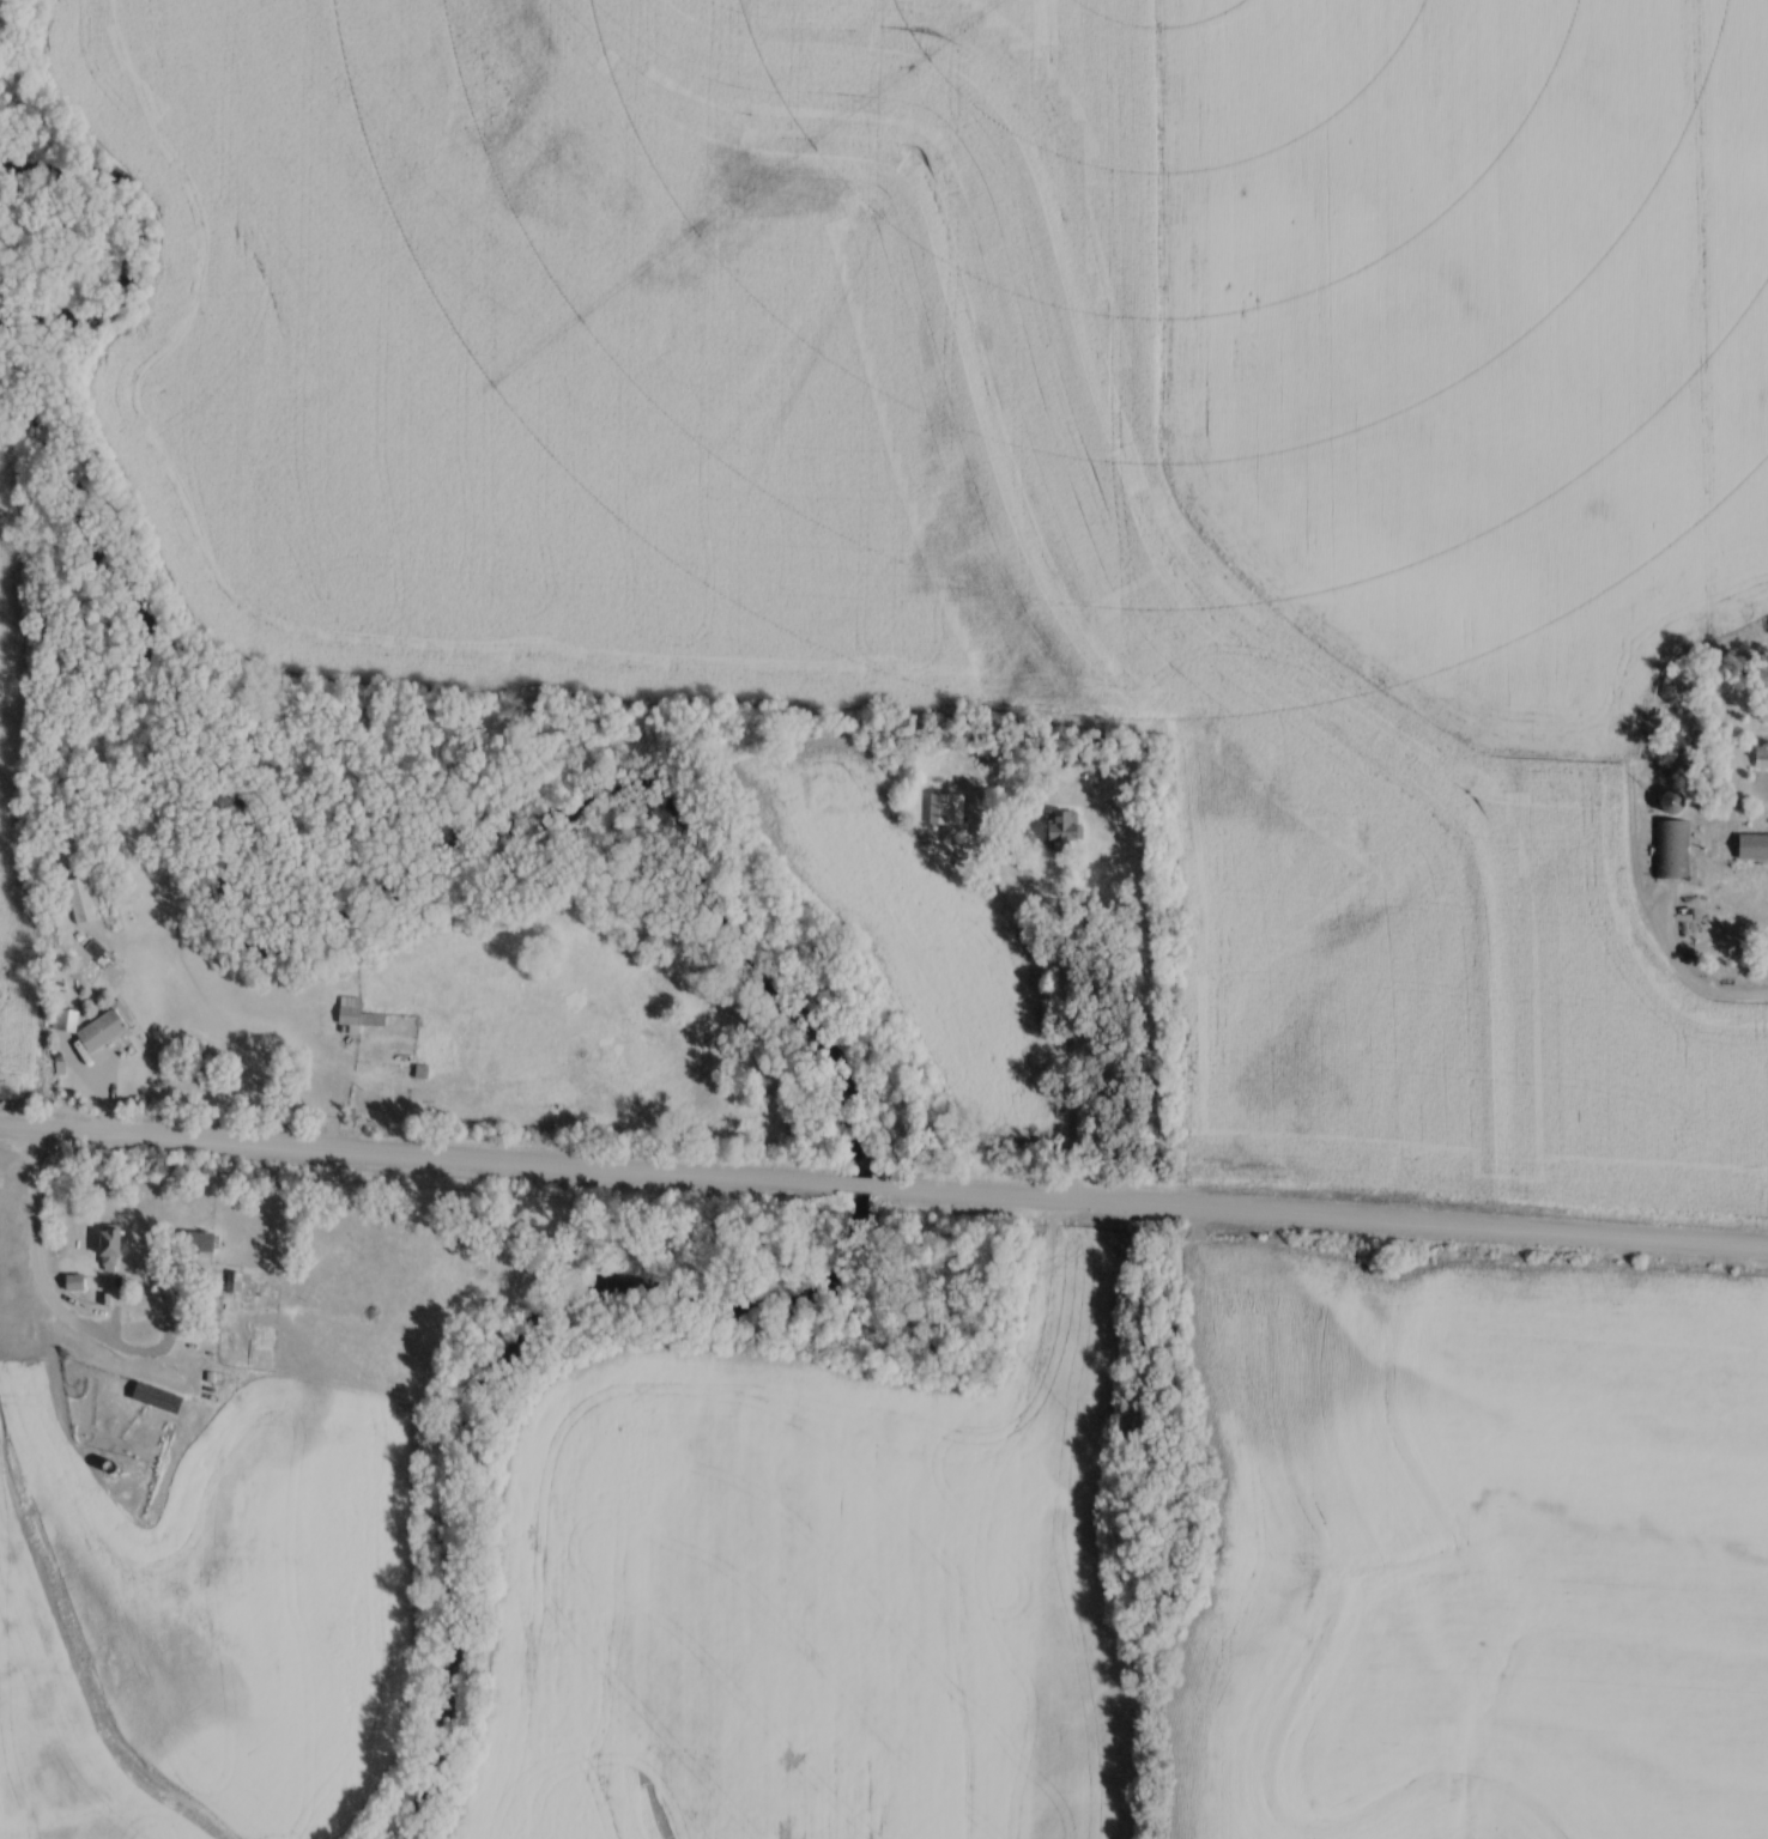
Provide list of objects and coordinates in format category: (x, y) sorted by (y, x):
building: (1762, 759)
building: (1675, 805)
building: (949, 811)
building: (1066, 831)
building: (1755, 848)
building: (1675, 851)
building: (84, 902)
river: (718, 915)
building: (361, 1015)
building: (105, 1032)
road: (423, 1155)
road: (861, 1181)
road: (18, 1195)
road: (1321, 1215)
road: (35, 1239)
building: (201, 1244)
building: (114, 1250)
road: (158, 1358)
building: (161, 1400)

